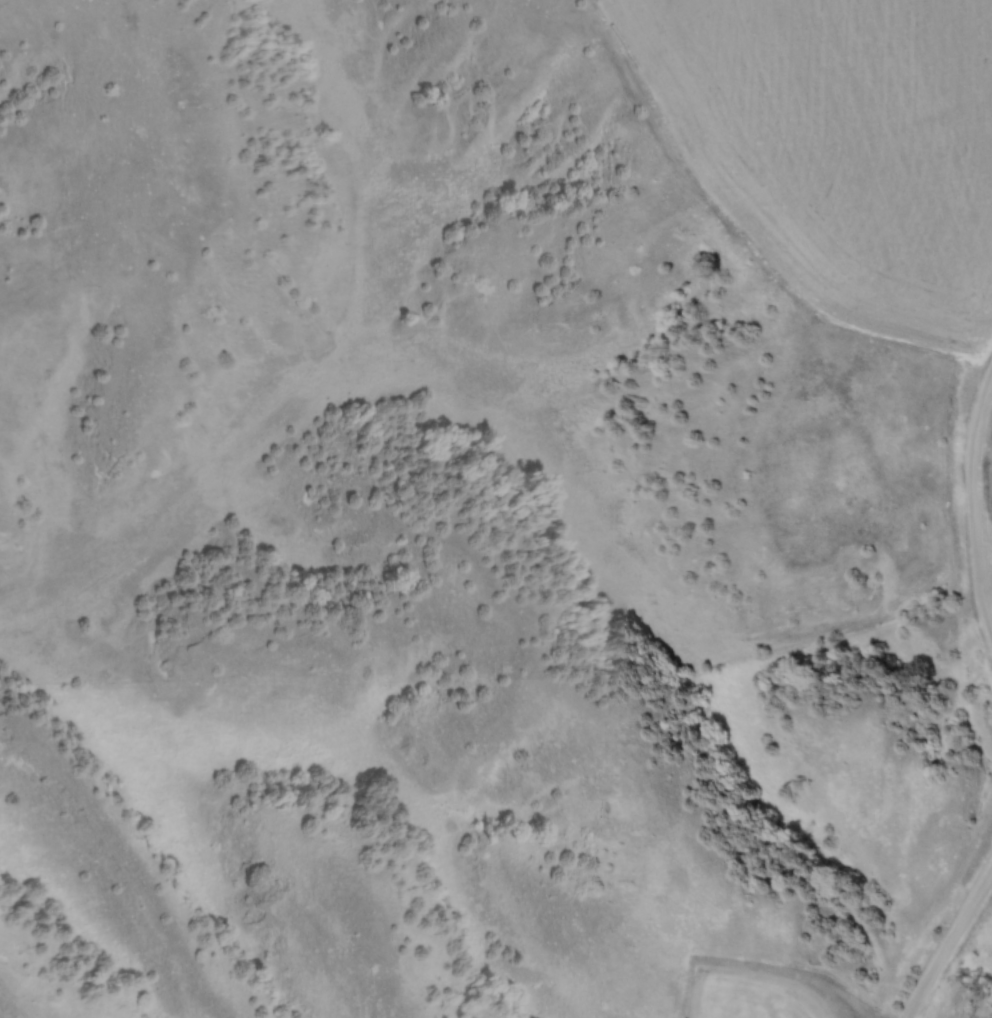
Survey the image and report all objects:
road: (975, 499)
road: (948, 945)

